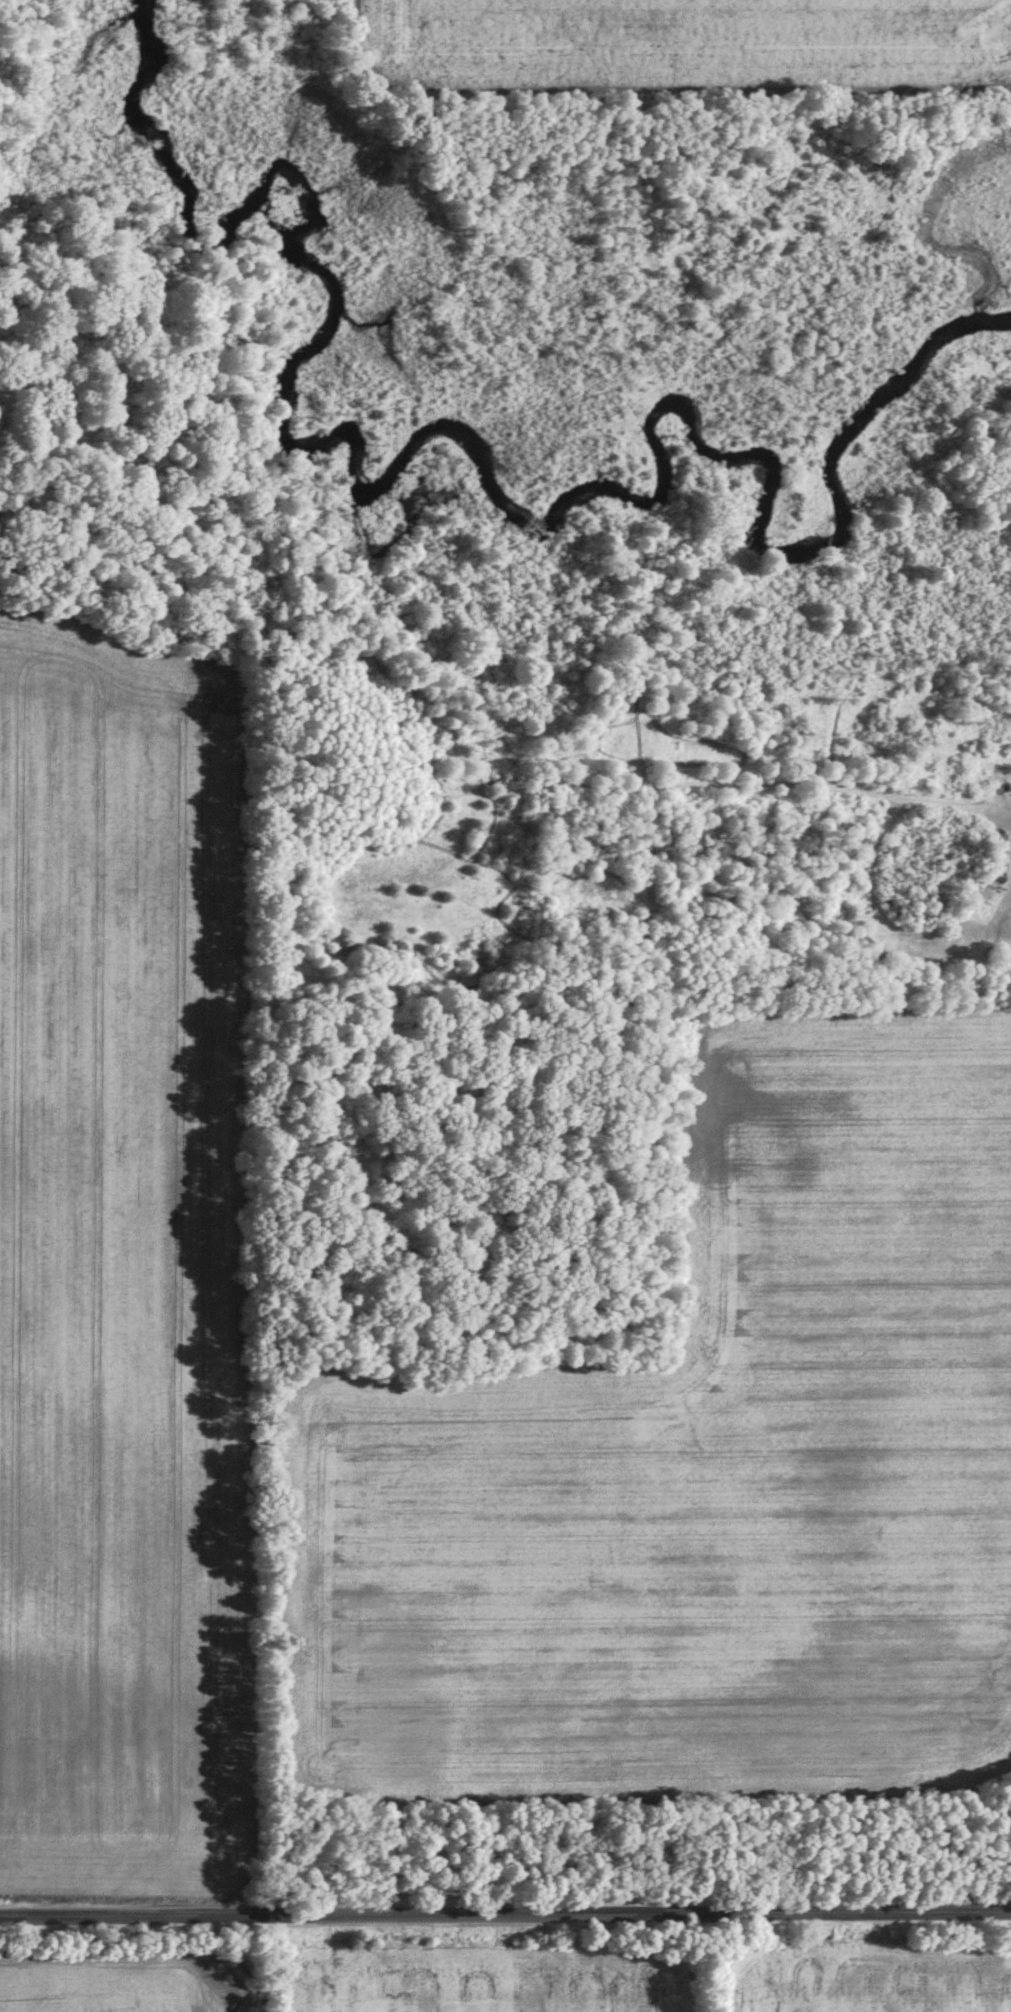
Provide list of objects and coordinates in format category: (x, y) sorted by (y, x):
road: (505, 1917)

